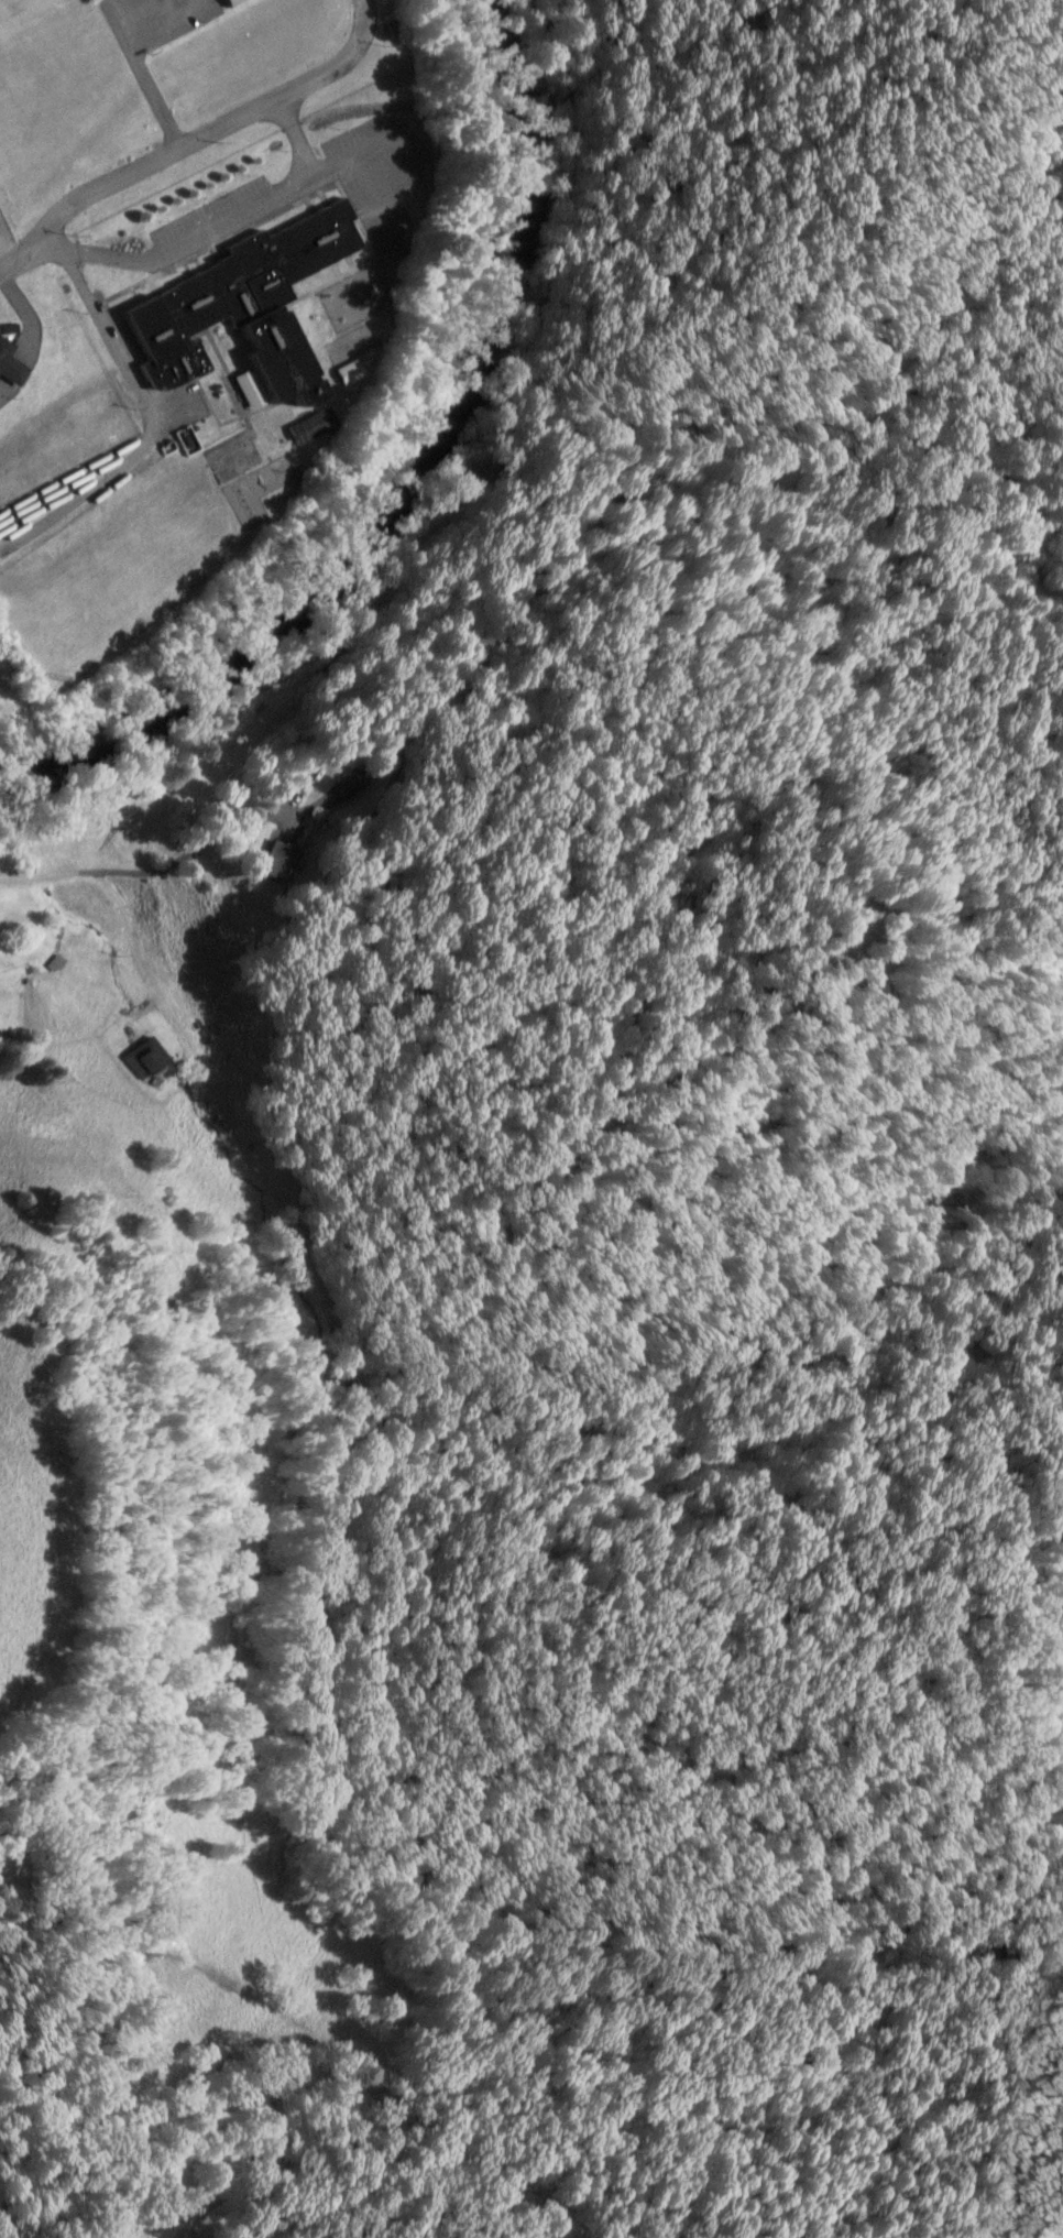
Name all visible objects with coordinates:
building: (226, 2)
building: (235, 2)
road: (144, 72)
road: (193, 138)
road: (222, 226)
building: (239, 310)
building: (9, 364)
road: (145, 412)
building: (310, 426)
river: (428, 491)
road: (150, 871)
building: (57, 962)

